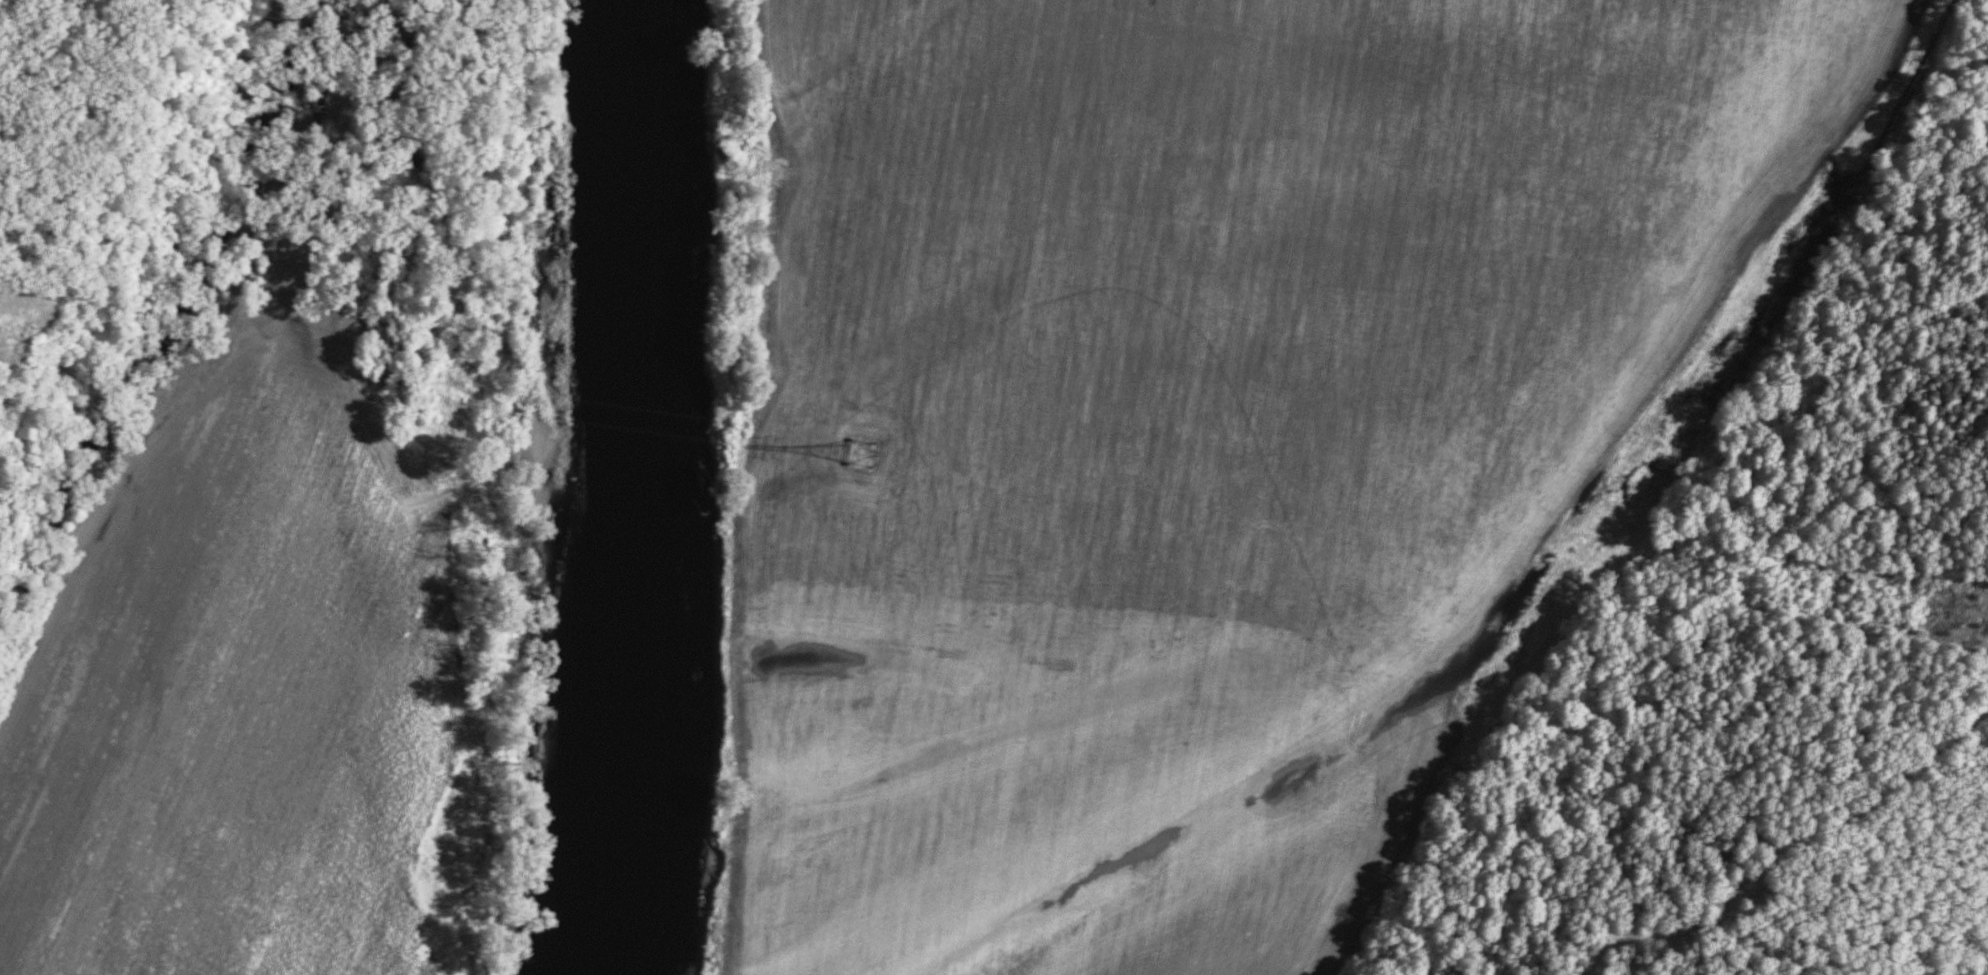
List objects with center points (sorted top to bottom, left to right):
power tower: (869, 457)
river: (597, 488)
road: (491, 788)

